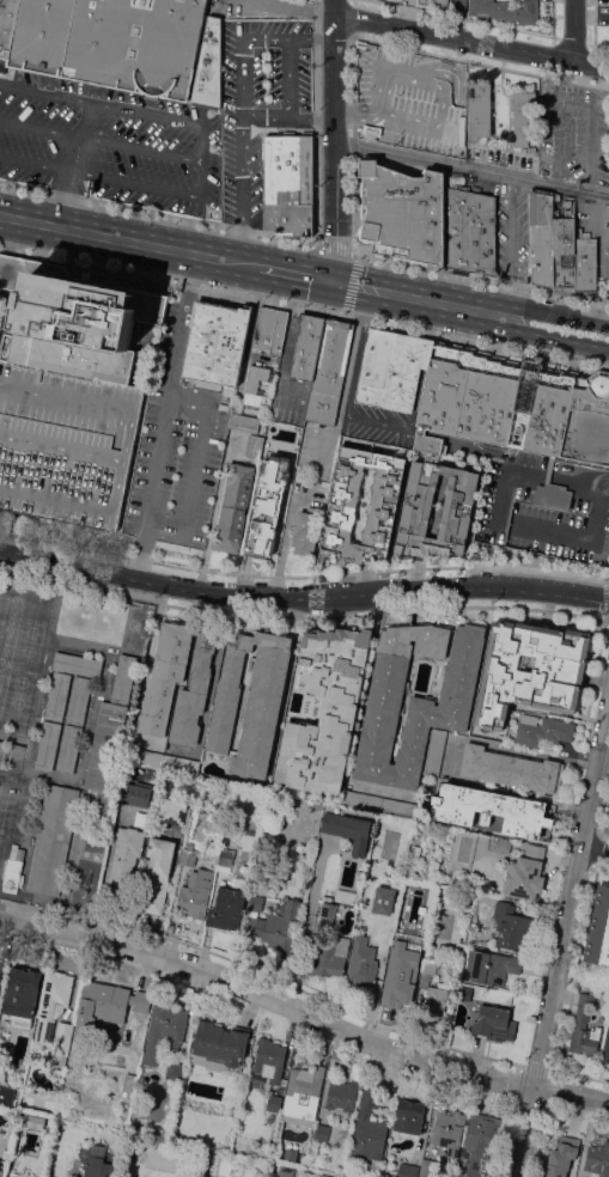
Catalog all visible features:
building: (437, 1)
building: (459, 5)
road: (293, 6)
building: (506, 11)
road: (573, 30)
road: (373, 37)
road: (470, 39)
building: (105, 42)
building: (363, 44)
building: (208, 67)
road: (287, 79)
parking lot: (410, 99)
road: (239, 102)
road: (99, 103)
parking lot: (260, 103)
building: (479, 110)
road: (286, 118)
building: (524, 120)
road: (316, 127)
building: (371, 132)
parking lot: (573, 133)
road: (80, 135)
road: (97, 139)
road: (199, 140)
road: (333, 141)
parking lot: (112, 145)
parking lot: (501, 158)
road: (36, 164)
road: (471, 167)
road: (200, 178)
road: (130, 182)
building: (288, 183)
road: (67, 200)
building: (402, 212)
road: (157, 214)
building: (456, 227)
parking lot: (512, 233)
building: (481, 234)
parking lot: (595, 236)
building: (541, 237)
road: (110, 238)
road: (510, 245)
building: (564, 252)
road: (238, 263)
road: (353, 263)
building: (585, 264)
road: (294, 274)
road: (481, 281)
traffic signals: (333, 282)
road: (359, 287)
road: (304, 305)
road: (451, 305)
building: (261, 328)
road: (562, 328)
road: (288, 329)
building: (276, 331)
building: (217, 341)
building: (306, 348)
building: (370, 365)
building: (385, 368)
building: (329, 370)
building: (415, 370)
building: (400, 371)
parking lot: (288, 382)
parking lot: (352, 384)
building: (526, 384)
building: (256, 388)
building: (444, 390)
building: (457, 392)
building: (69, 394)
parking lot: (69, 394)
building: (471, 396)
building: (486, 401)
building: (430, 402)
building: (504, 404)
building: (540, 410)
building: (559, 414)
road: (163, 416)
building: (589, 420)
building: (244, 423)
building: (518, 427)
fountain: (519, 432)
parking lot: (322, 434)
parking lot: (175, 441)
building: (254, 447)
road: (197, 468)
road: (548, 474)
road: (571, 477)
road: (593, 480)
building: (552, 492)
building: (267, 505)
building: (383, 506)
building: (235, 507)
building: (418, 507)
parking lot: (544, 511)
road: (528, 524)
building: (305, 531)
road: (68, 543)
road: (534, 569)
road: (297, 577)
road: (303, 597)
road: (154, 621)
building: (78, 664)
building: (165, 676)
building: (124, 678)
building: (530, 685)
building: (194, 691)
building: (57, 696)
building: (418, 696)
building: (79, 700)
building: (250, 701)
building: (325, 708)
building: (542, 731)
building: (50, 734)
building: (71, 738)
road: (508, 745)
building: (105, 746)
building: (434, 752)
building: (145, 756)
building: (45, 757)
building: (66, 760)
building: (179, 763)
building: (511, 768)
building: (134, 794)
building: (379, 804)
building: (488, 810)
building: (175, 811)
building: (268, 824)
building: (348, 829)
building: (53, 838)
building: (499, 843)
road: (596, 844)
building: (224, 856)
building: (120, 861)
building: (13, 868)
building: (158, 873)
building: (524, 873)
building: (195, 894)
building: (384, 899)
building: (229, 904)
building: (328, 909)
building: (273, 923)
building: (511, 927)
building: (598, 928)
road: (562, 945)
building: (432, 955)
building: (328, 957)
building: (1, 964)
building: (360, 964)
building: (491, 966)
building: (427, 971)
building: (398, 975)
building: (22, 990)
building: (101, 998)
building: (434, 1000)
building: (141, 1001)
building: (51, 1002)
road: (303, 1017)
building: (494, 1023)
building: (584, 1027)
building: (164, 1030)
building: (62, 1039)
building: (219, 1043)
building: (605, 1048)
building: (269, 1059)
building: (173, 1071)
building: (128, 1084)
building: (6, 1091)
building: (302, 1093)
building: (341, 1094)
building: (274, 1102)
building: (409, 1116)
building: (34, 1121)
building: (369, 1128)
building: (322, 1133)
building: (447, 1133)
building: (479, 1146)
building: (561, 1157)
building: (597, 1160)
building: (0, 1166)
building: (97, 1166)
building: (427, 1166)
building: (282, 1170)
building: (407, 1170)

